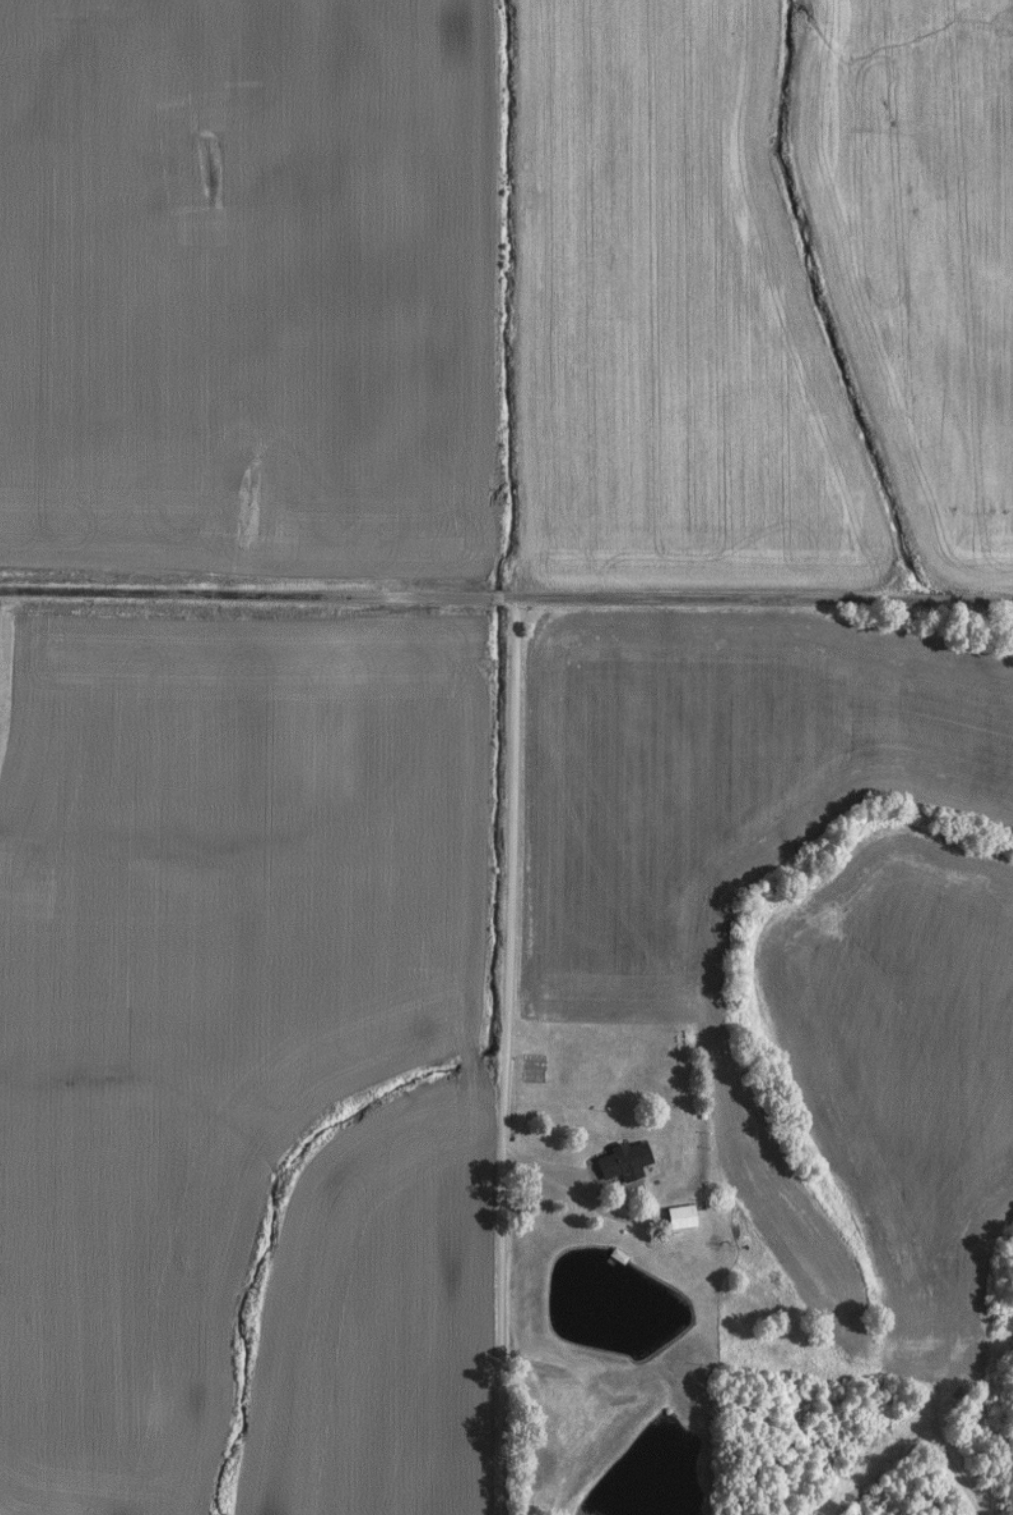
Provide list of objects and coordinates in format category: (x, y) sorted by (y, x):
road: (506, 596)
road: (509, 1055)
building: (617, 1159)
road: (557, 1175)
building: (674, 1217)

